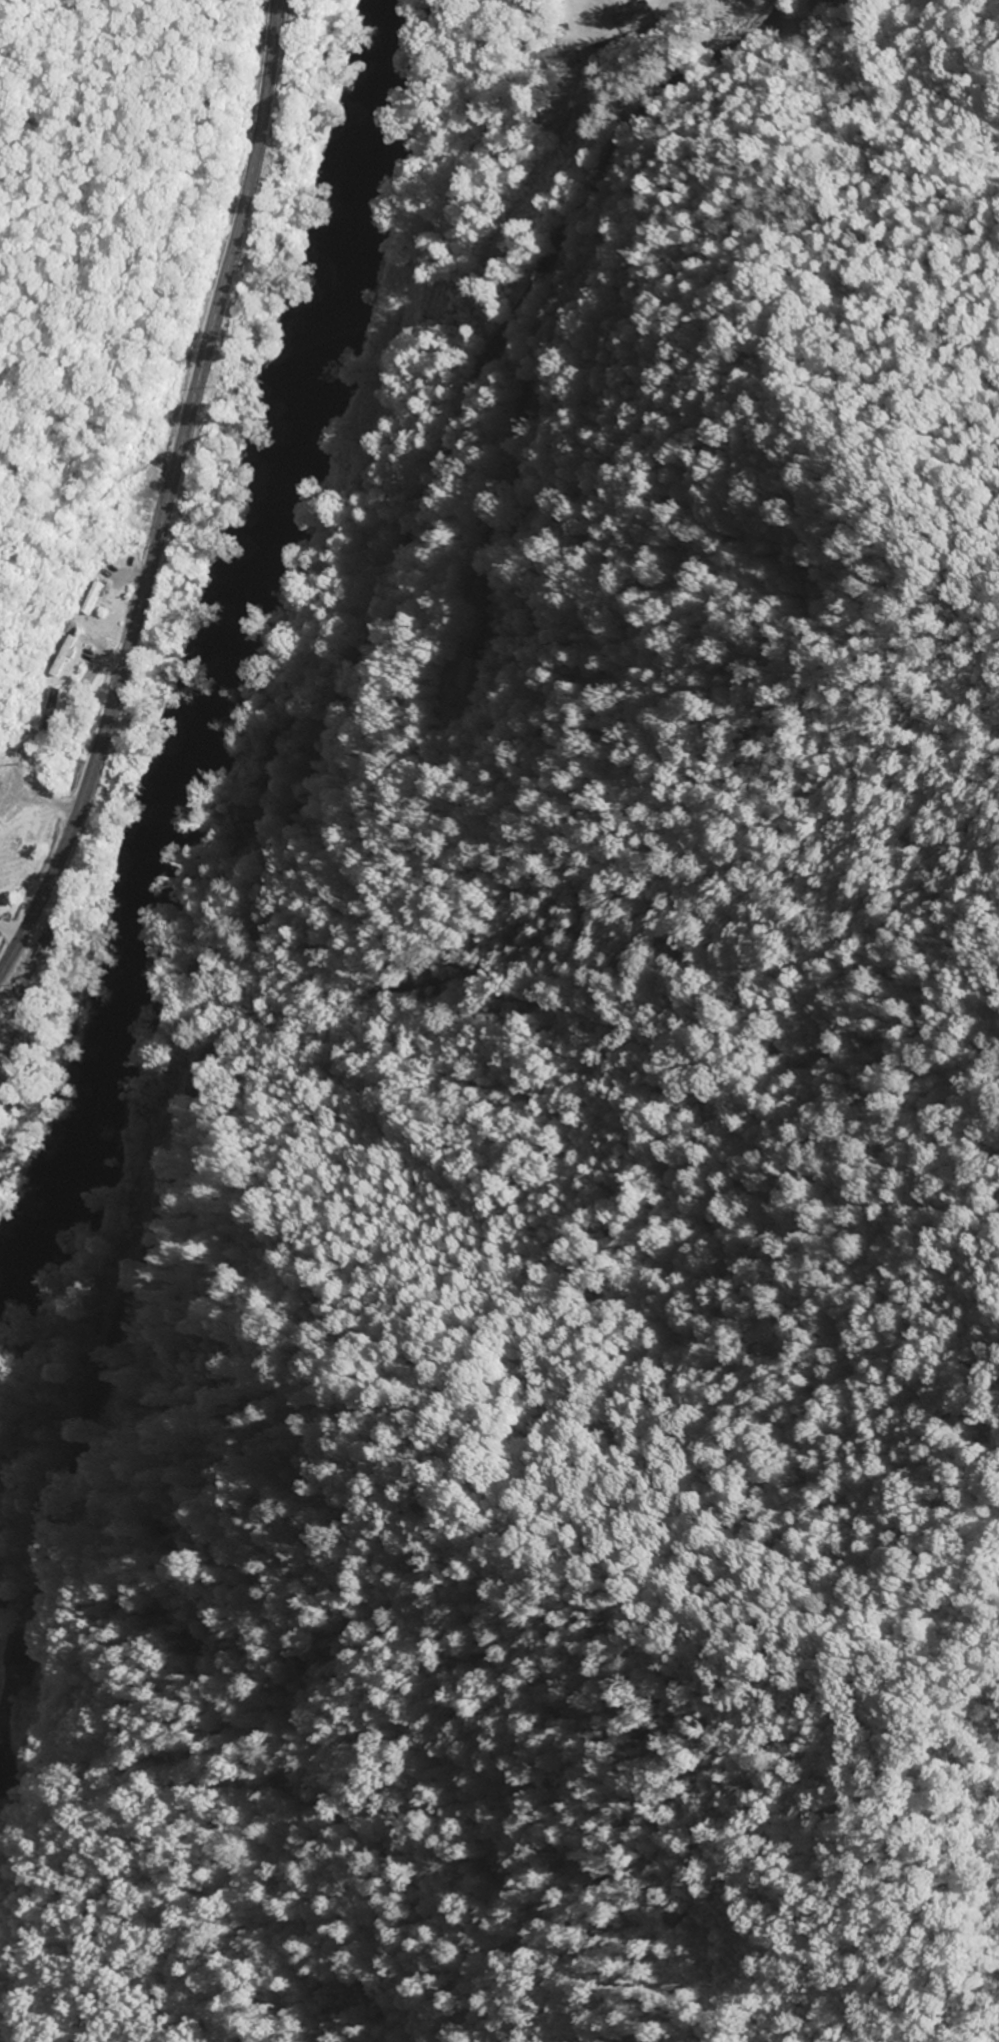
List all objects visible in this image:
building: (824, 5)
building: (629, 18)
building: (550, 59)
road: (685, 76)
road: (167, 494)
building: (88, 599)
river: (220, 648)
building: (471, 682)
building: (252, 816)
road: (269, 877)
building: (4, 1076)
building: (12, 1651)
building: (4, 1774)
road: (1, 2038)

